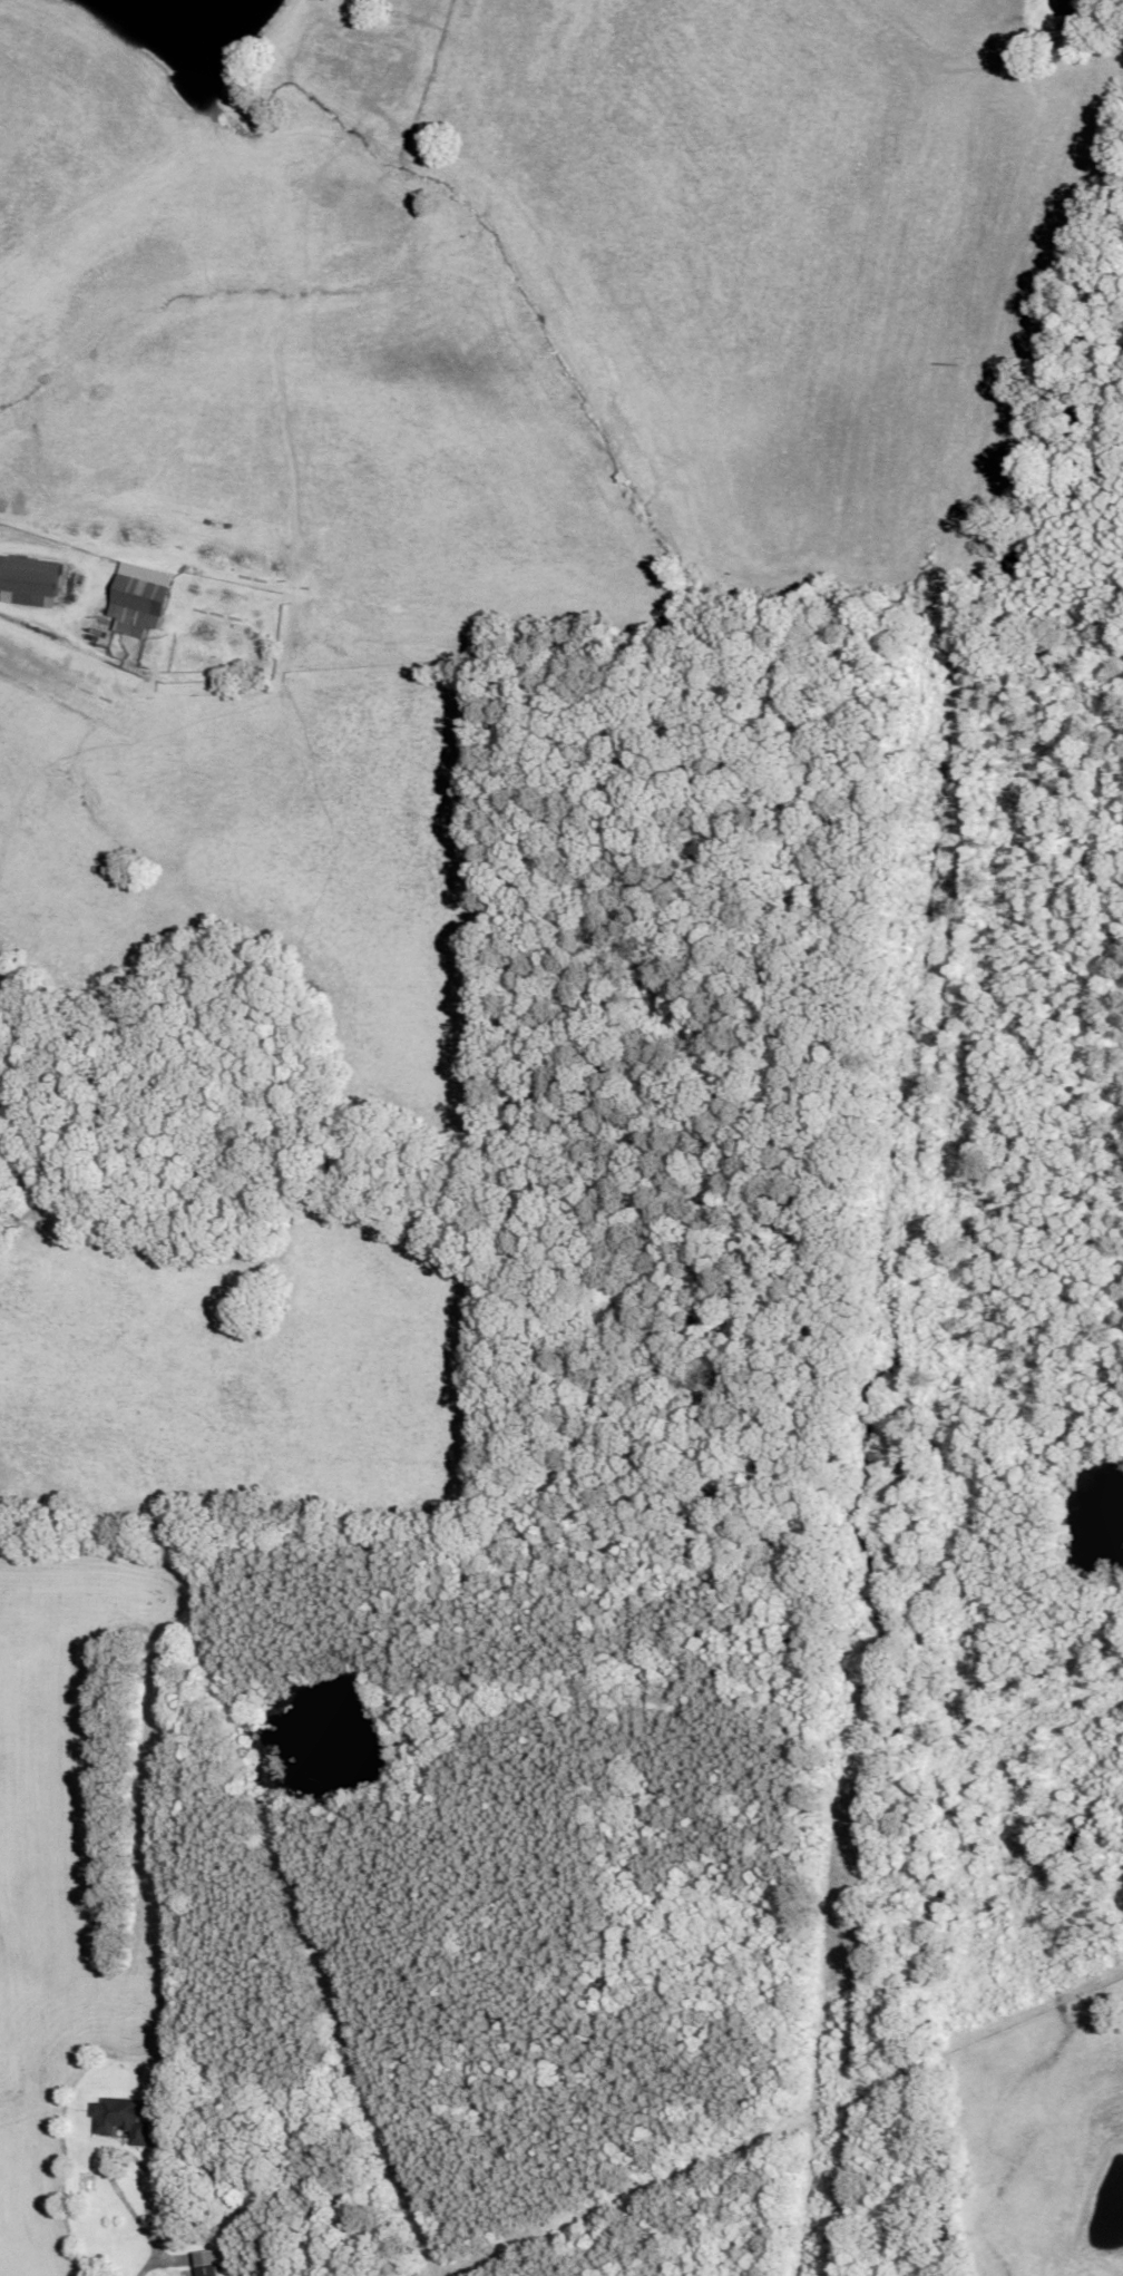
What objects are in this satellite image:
building: (29, 586)
building: (140, 604)
building: (123, 2123)
building: (208, 2272)

